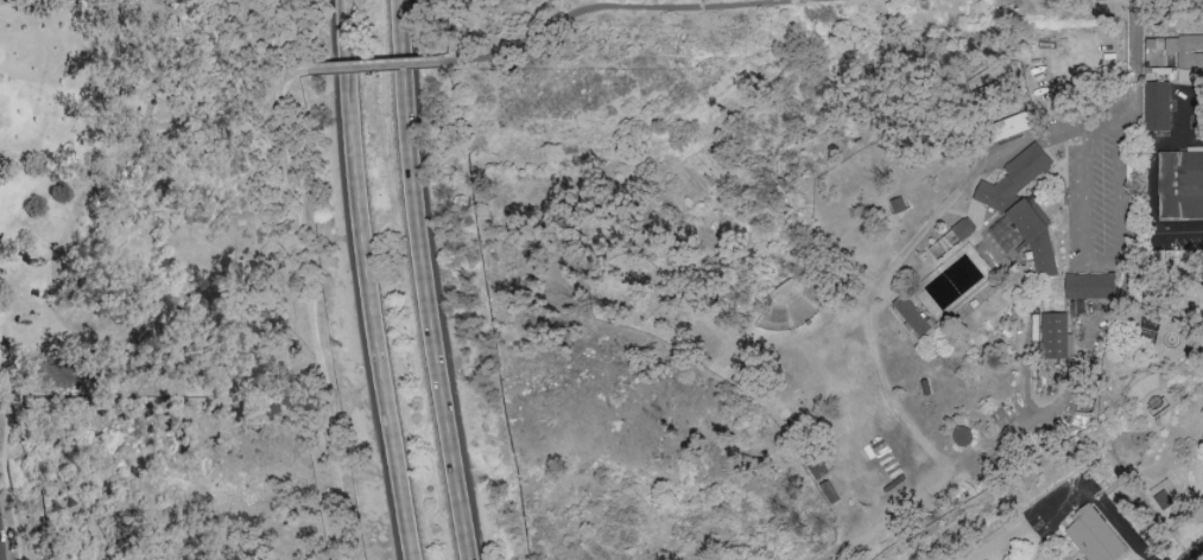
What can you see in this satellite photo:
road: (575, 5)
road: (608, 6)
road: (473, 30)
road: (265, 44)
building: (1174, 62)
road: (374, 65)
road: (147, 89)
building: (1158, 110)
road: (1179, 115)
building: (1011, 129)
building: (720, 161)
road: (980, 170)
building: (702, 174)
building: (1182, 186)
building: (899, 208)
building: (1022, 214)
building: (965, 227)
building: (732, 228)
building: (950, 243)
road: (1108, 267)
park: (601, 280)
road: (371, 281)
road: (422, 281)
building: (1090, 287)
building: (793, 306)
road: (314, 312)
building: (913, 319)
building: (1055, 338)
road: (37, 373)
road: (1177, 402)
road: (1141, 463)
building: (815, 466)
road: (5, 482)
road: (1135, 484)
building: (829, 494)
building: (1164, 497)
road: (1100, 508)
road: (998, 534)
building: (1091, 536)
road: (1201, 558)

